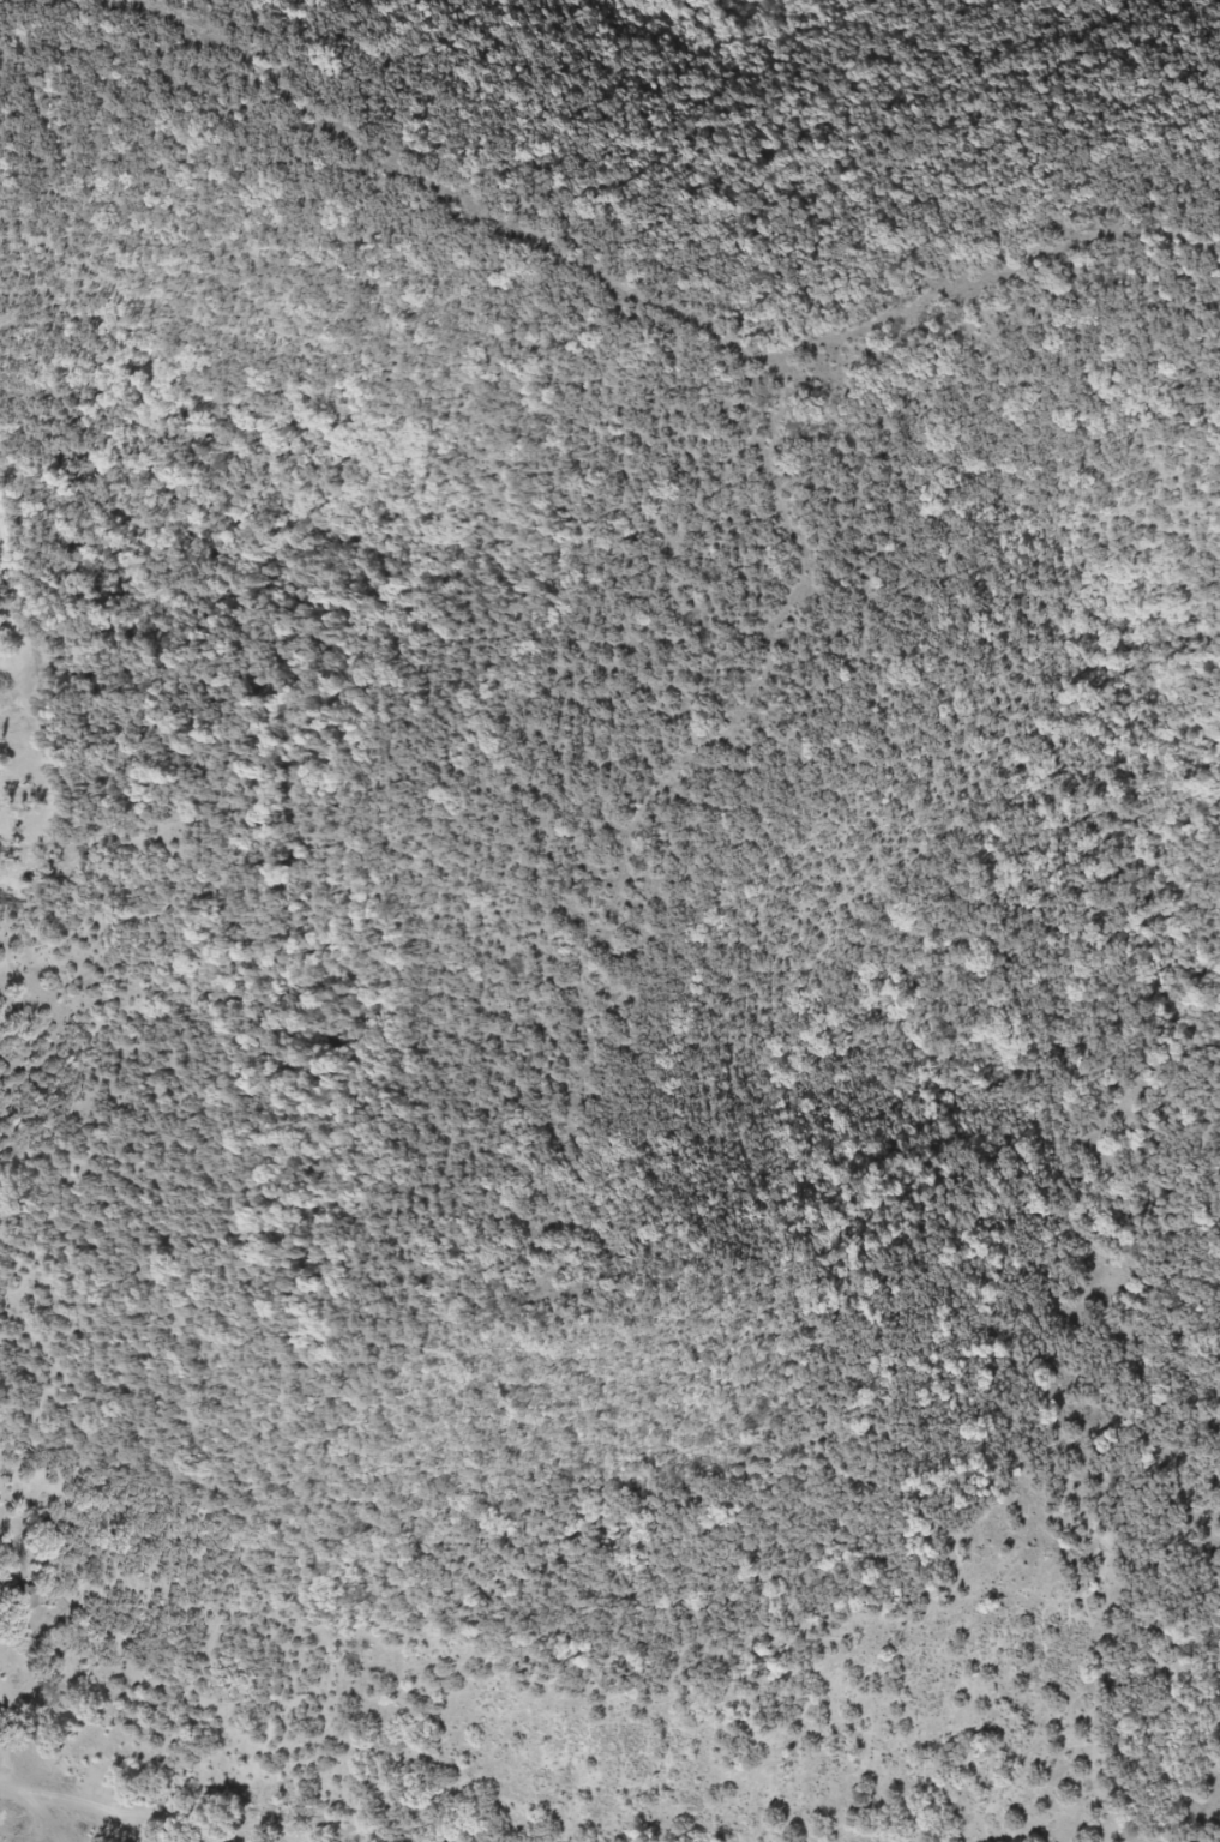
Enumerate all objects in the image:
road: (653, 1437)
building: (26, 1599)
road: (137, 1813)
road: (283, 1840)

